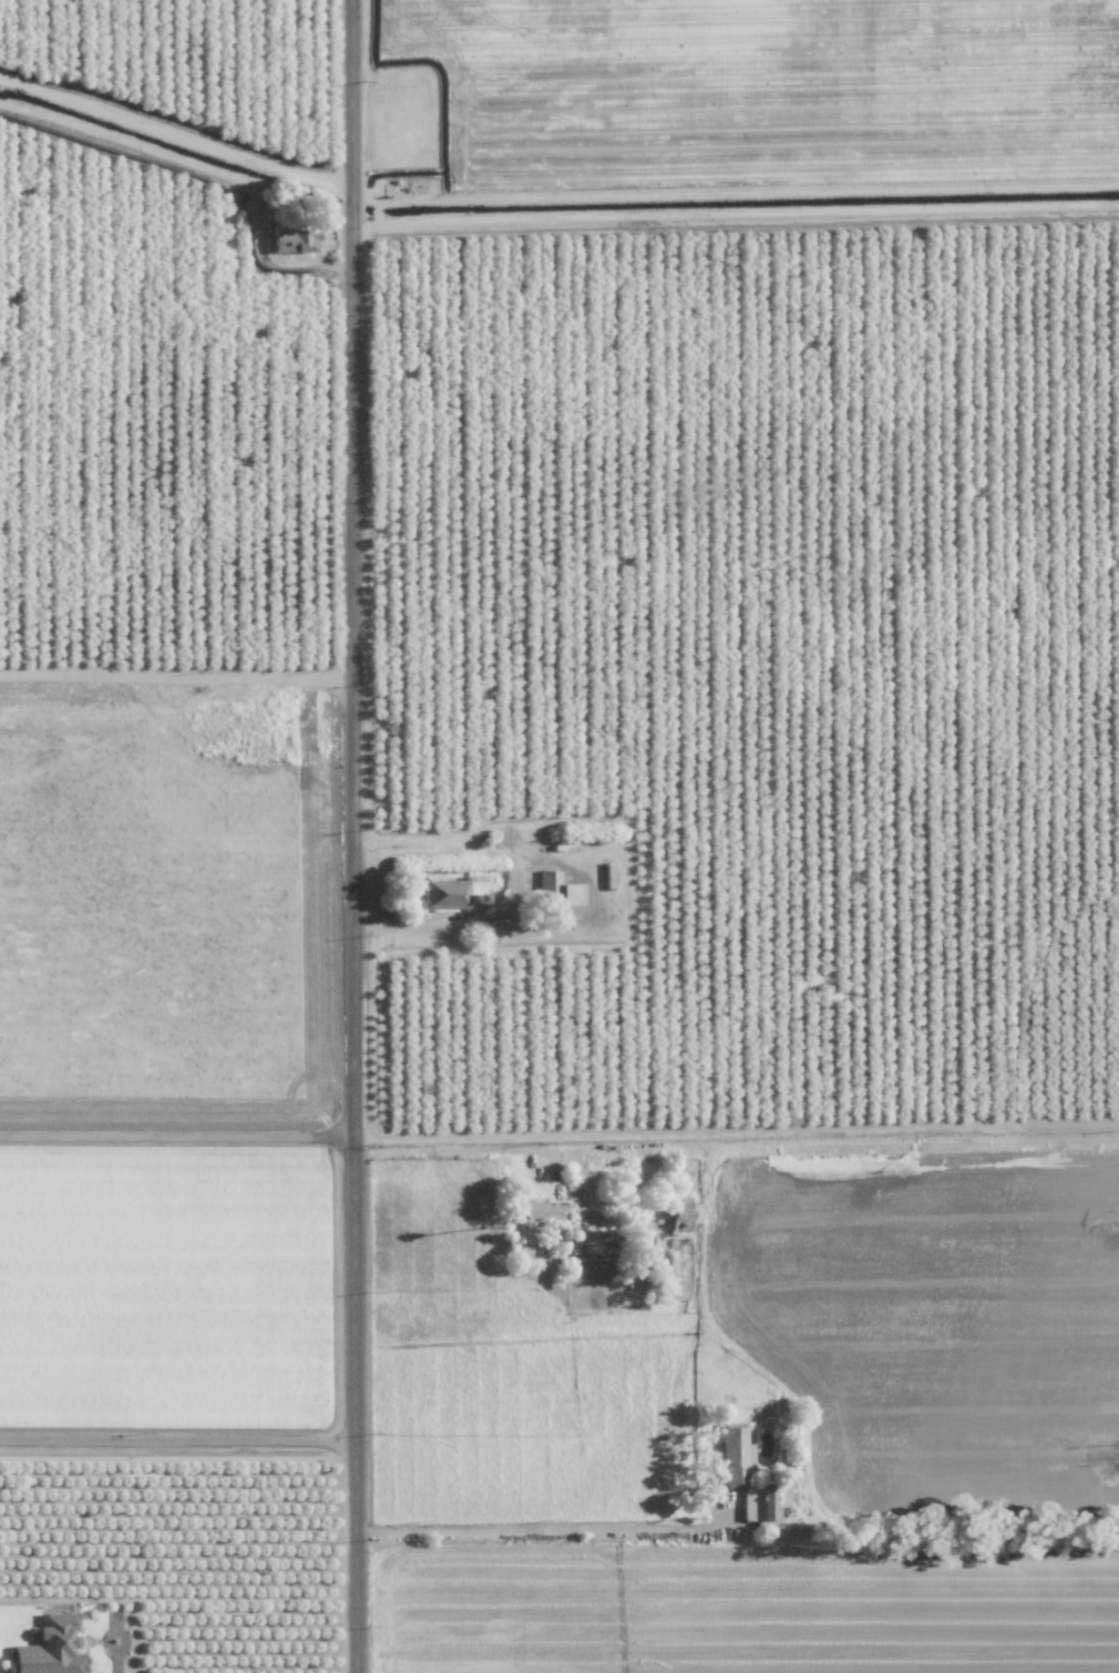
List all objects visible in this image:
road: (350, 79)
building: (294, 238)
building: (544, 881)
building: (453, 892)
building: (571, 894)
road: (357, 915)
road: (635, 1137)
road: (178, 1142)
building: (538, 1211)
building: (685, 1218)
road: (179, 1437)
building: (735, 1477)
road: (546, 1526)
building: (51, 1648)

